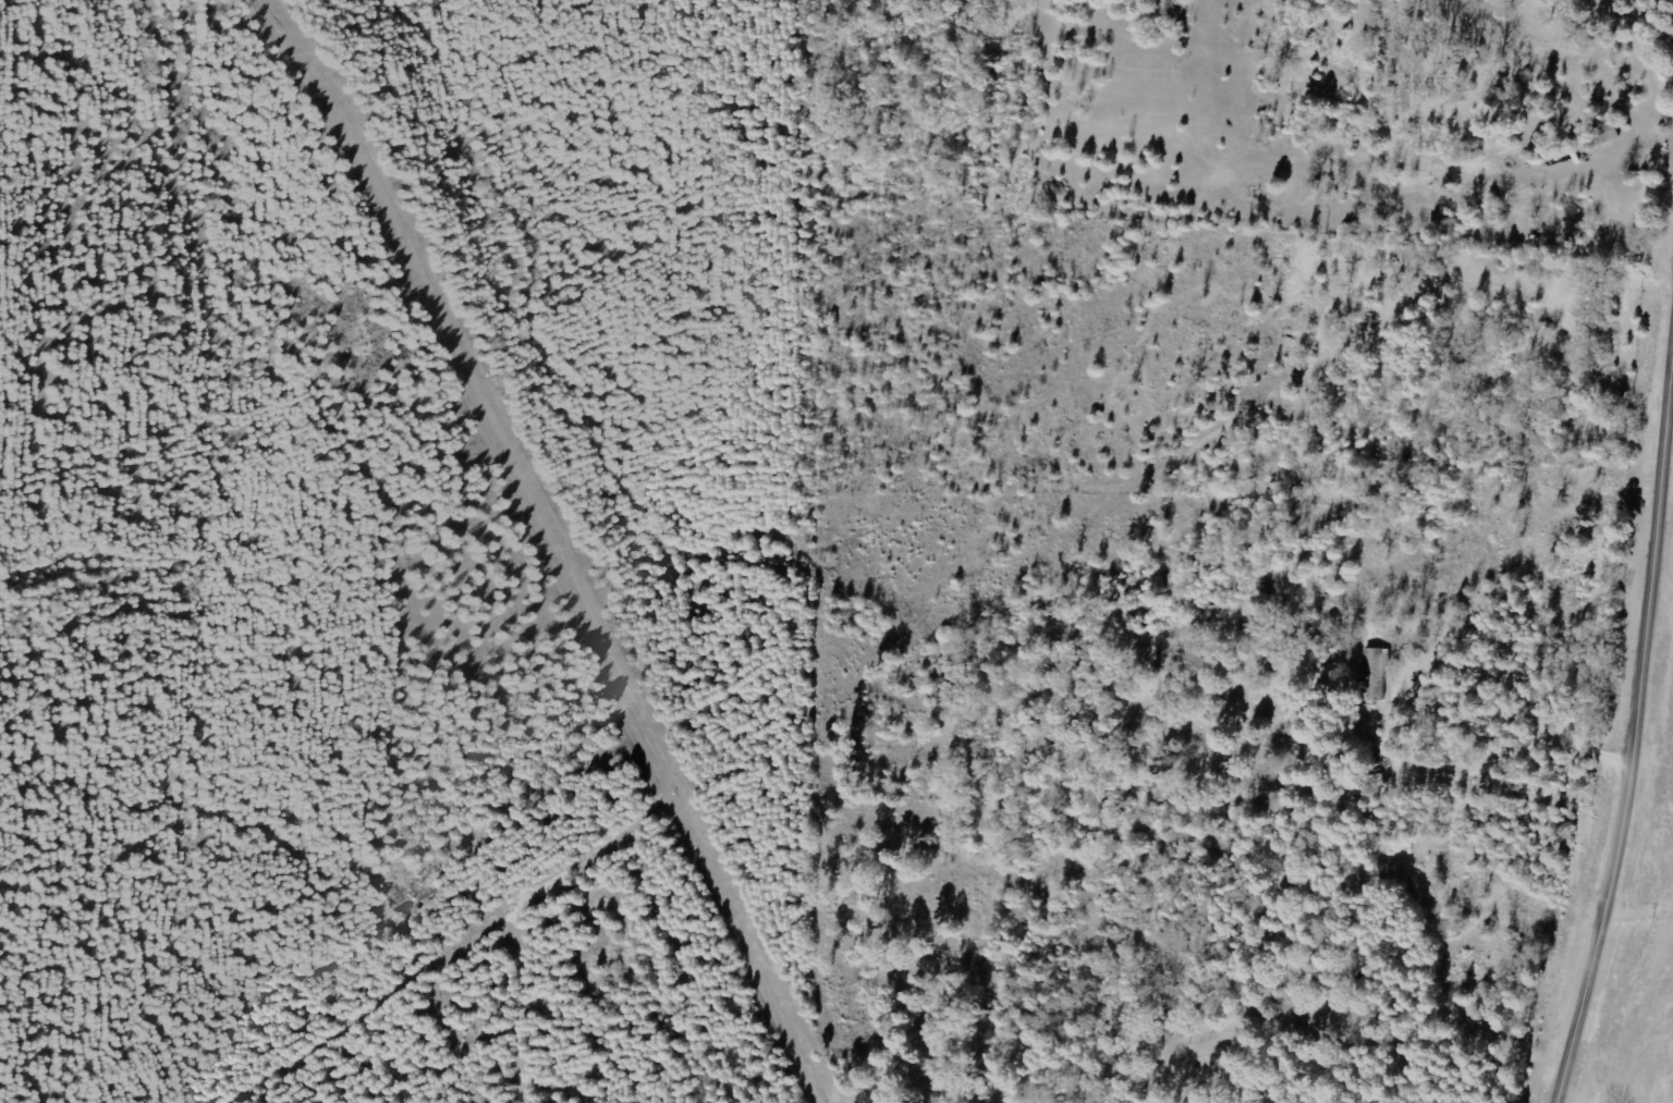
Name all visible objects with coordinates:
road: (1446, 7)
road: (1592, 11)
road: (1245, 336)
building: (1378, 675)
road: (1634, 733)
road: (681, 871)

